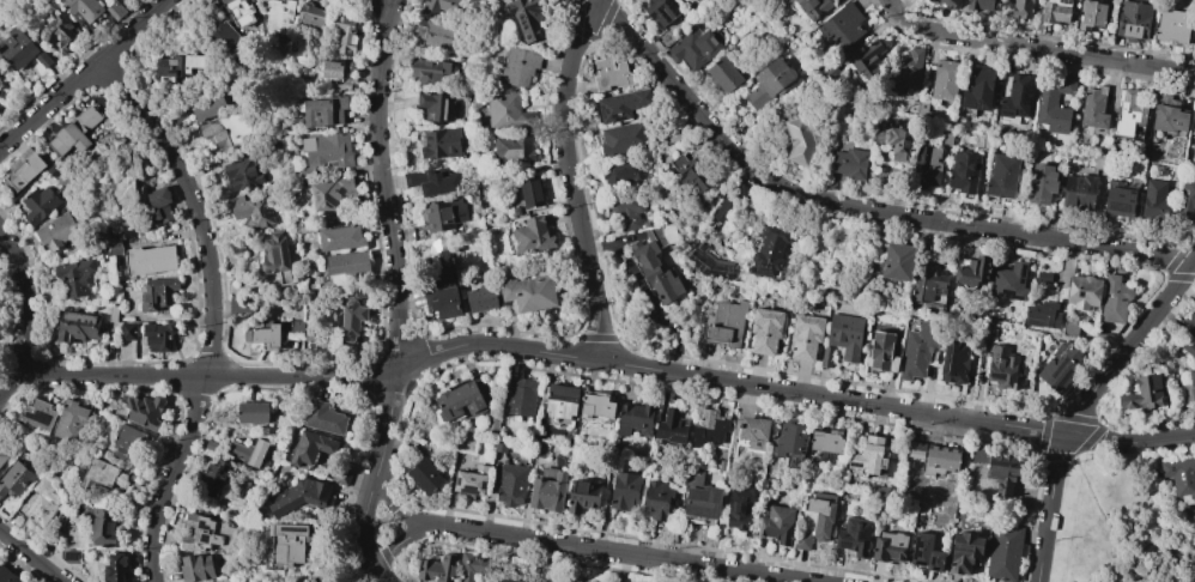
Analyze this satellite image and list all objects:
building: (697, 0)
building: (697, 0)
building: (929, 0)
road: (387, 1)
building: (947, 2)
building: (978, 4)
building: (439, 6)
building: (813, 7)
building: (84, 8)
building: (1021, 8)
building: (115, 10)
building: (1055, 11)
building: (238, 12)
building: (661, 12)
building: (278, 14)
building: (1091, 14)
building: (311, 18)
building: (527, 18)
road: (147, 19)
building: (1132, 20)
building: (842, 25)
building: (1171, 26)
building: (56, 28)
building: (345, 35)
building: (432, 36)
building: (225, 42)
road: (116, 46)
building: (1191, 47)
building: (22, 49)
building: (693, 49)
road: (1036, 49)
road: (121, 50)
building: (866, 61)
building: (177, 67)
building: (517, 67)
building: (424, 68)
building: (829, 72)
building: (908, 72)
building: (609, 73)
building: (336, 74)
building: (723, 74)
building: (1, 77)
building: (945, 79)
building: (768, 83)
building: (978, 90)
building: (1015, 96)
road: (55, 104)
building: (1054, 104)
building: (207, 105)
building: (620, 105)
building: (1, 107)
building: (436, 107)
building: (1093, 108)
building: (324, 111)
building: (506, 111)
road: (145, 113)
building: (1128, 113)
building: (1167, 115)
building: (74, 131)
building: (229, 132)
building: (623, 137)
building: (944, 137)
building: (672, 138)
building: (803, 138)
building: (894, 140)
building: (442, 143)
building: (512, 148)
building: (326, 151)
building: (1193, 157)
building: (849, 163)
building: (929, 163)
building: (20, 169)
building: (621, 169)
building: (53, 170)
building: (691, 171)
building: (963, 172)
building: (242, 174)
building: (1002, 175)
road: (570, 177)
building: (829, 180)
building: (432, 181)
building: (1041, 183)
building: (127, 186)
building: (1079, 190)
building: (529, 192)
building: (332, 193)
building: (742, 193)
building: (515, 195)
building: (1187, 196)
building: (1118, 199)
building: (1154, 201)
building: (37, 205)
building: (159, 205)
road: (856, 208)
building: (515, 211)
building: (723, 211)
building: (253, 212)
building: (624, 212)
building: (437, 217)
building: (303, 229)
building: (56, 231)
building: (532, 235)
building: (340, 238)
road: (392, 240)
building: (439, 247)
building: (114, 248)
building: (768, 249)
building: (277, 257)
building: (150, 260)
building: (709, 262)
building: (893, 262)
building: (345, 266)
building: (654, 269)
building: (971, 272)
building: (1042, 275)
building: (75, 277)
building: (1009, 281)
building: (927, 286)
building: (363, 291)
building: (1082, 291)
building: (529, 292)
building: (157, 293)
building: (442, 298)
building: (480, 298)
road: (26, 299)
building: (1114, 299)
building: (241, 308)
building: (111, 311)
building: (1043, 315)
building: (351, 321)
building: (724, 323)
building: (1190, 323)
building: (77, 327)
building: (296, 327)
building: (1068, 328)
building: (764, 329)
building: (127, 331)
building: (263, 334)
building: (844, 334)
building: (157, 335)
building: (803, 337)
building: (1185, 345)
road: (1128, 346)
road: (528, 350)
building: (918, 350)
building: (880, 352)
building: (825, 356)
building: (953, 362)
building: (1060, 365)
building: (1000, 368)
road: (206, 376)
building: (1189, 387)
building: (1144, 392)
building: (520, 396)
building: (559, 400)
building: (460, 401)
building: (596, 408)
building: (140, 411)
building: (254, 413)
building: (36, 414)
building: (324, 418)
building: (635, 418)
building: (69, 420)
building: (492, 423)
building: (708, 425)
building: (669, 426)
building: (748, 434)
building: (465, 439)
building: (788, 439)
building: (826, 441)
road: (1102, 441)
road: (1167, 442)
building: (128, 444)
building: (499, 444)
building: (210, 445)
building: (344, 445)
building: (310, 448)
building: (538, 449)
building: (421, 450)
building: (247, 453)
building: (2, 456)
building: (868, 456)
building: (935, 459)
building: (721, 465)
building: (997, 468)
building: (341, 472)
building: (98, 474)
building: (213, 475)
building: (424, 475)
building: (1181, 477)
building: (14, 479)
building: (471, 480)
building: (510, 484)
building: (547, 490)
building: (880, 490)
building: (624, 491)
road: (1158, 491)
road: (1094, 495)
building: (301, 496)
building: (582, 496)
building: (700, 498)
building: (657, 499)
building: (40, 503)
building: (739, 505)
road: (1048, 507)
road: (399, 511)
building: (820, 513)
building: (776, 523)
park: (1120, 523)
road: (365, 526)
building: (102, 527)
road: (377, 532)
building: (206, 534)
building: (854, 535)
building: (801, 541)
road: (402, 542)
building: (287, 544)
building: (888, 546)
building: (964, 551)
building: (926, 552)
building: (1003, 552)
road: (619, 553)
road: (32, 554)
building: (68, 556)
building: (120, 566)
building: (469, 566)
building: (195, 568)
building: (437, 569)
road: (1105, 569)
building: (7, 575)
road: (383, 576)
building: (309, 580)
building: (506, 580)
building: (222, 581)

